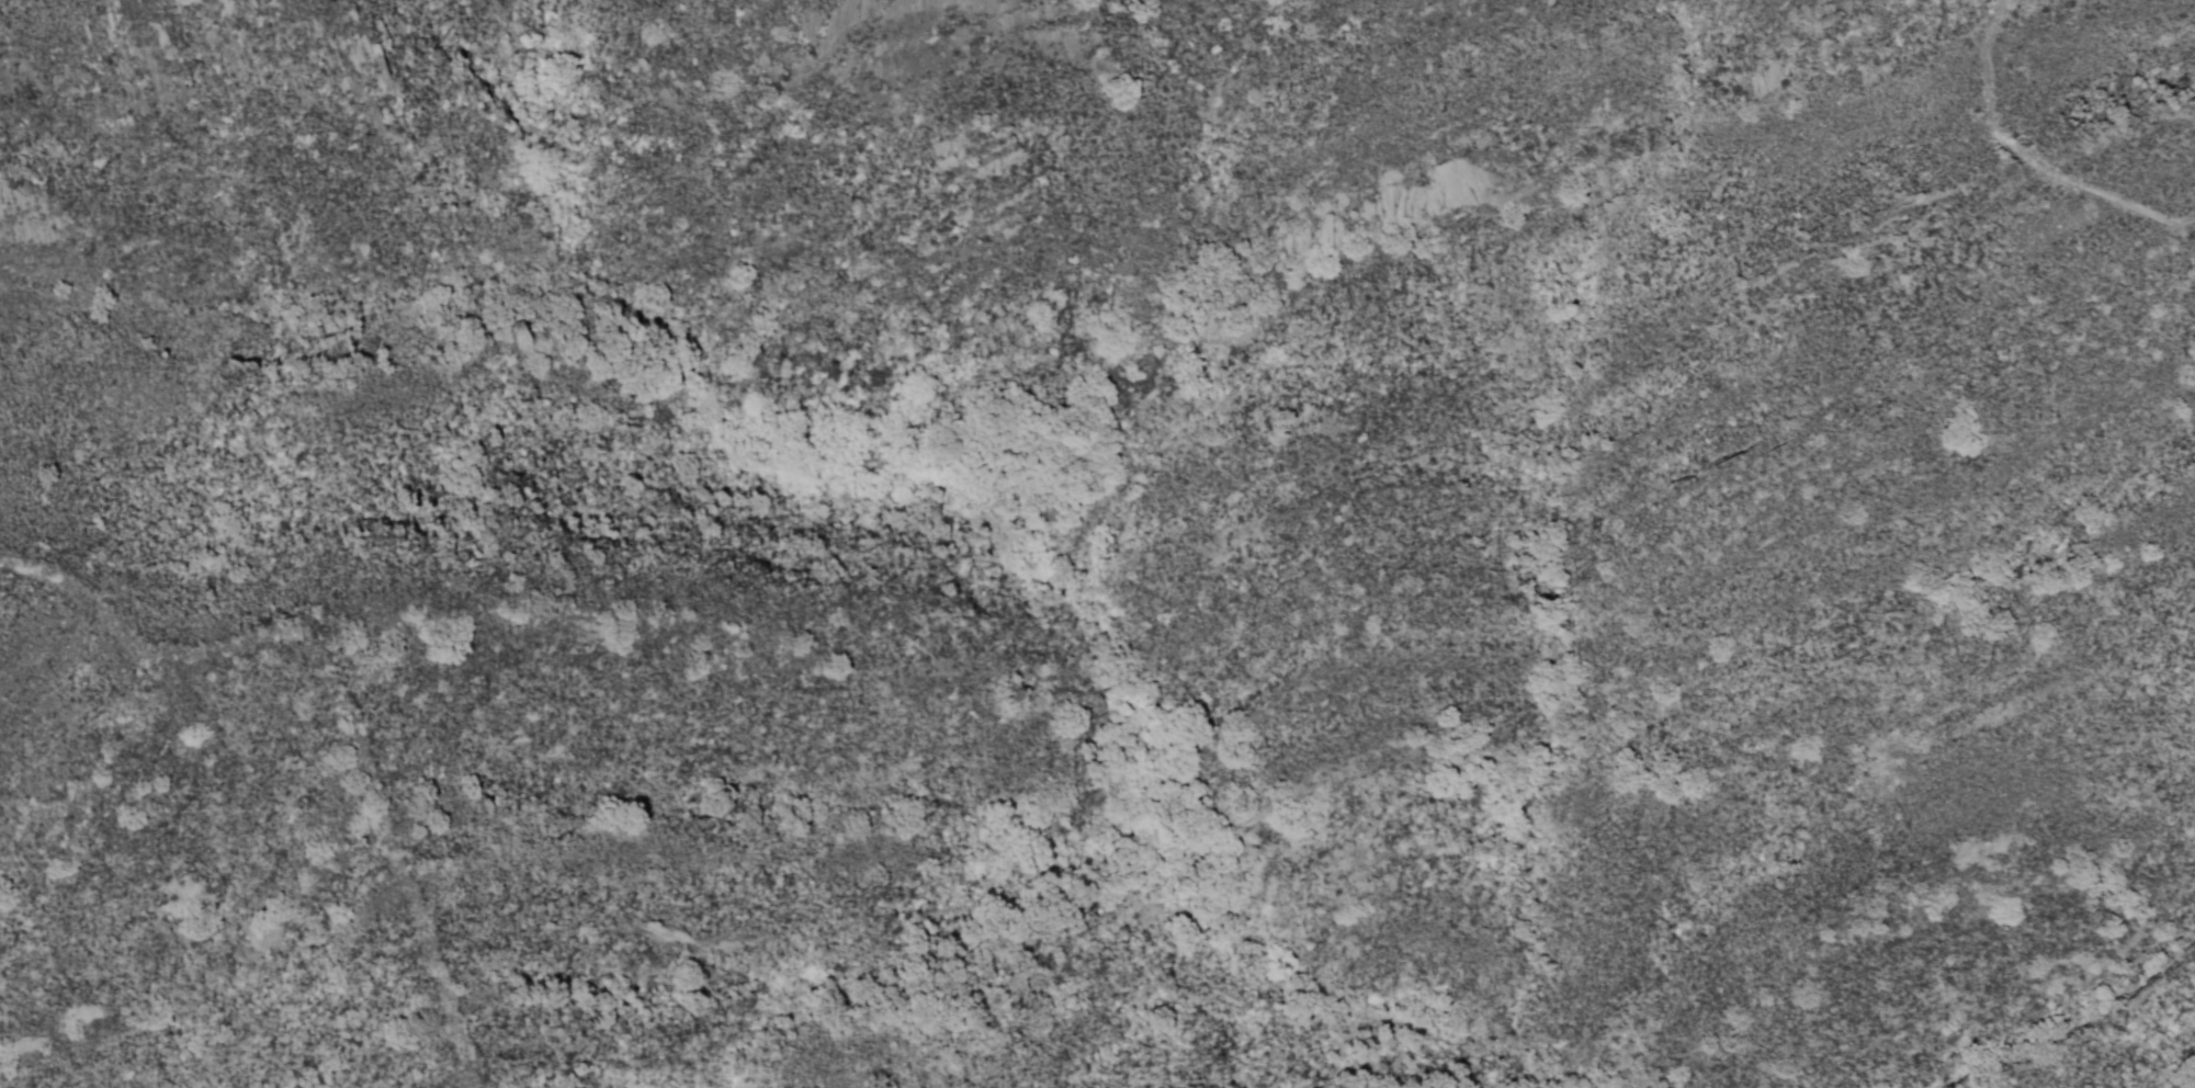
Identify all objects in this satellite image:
road: (2037, 147)

